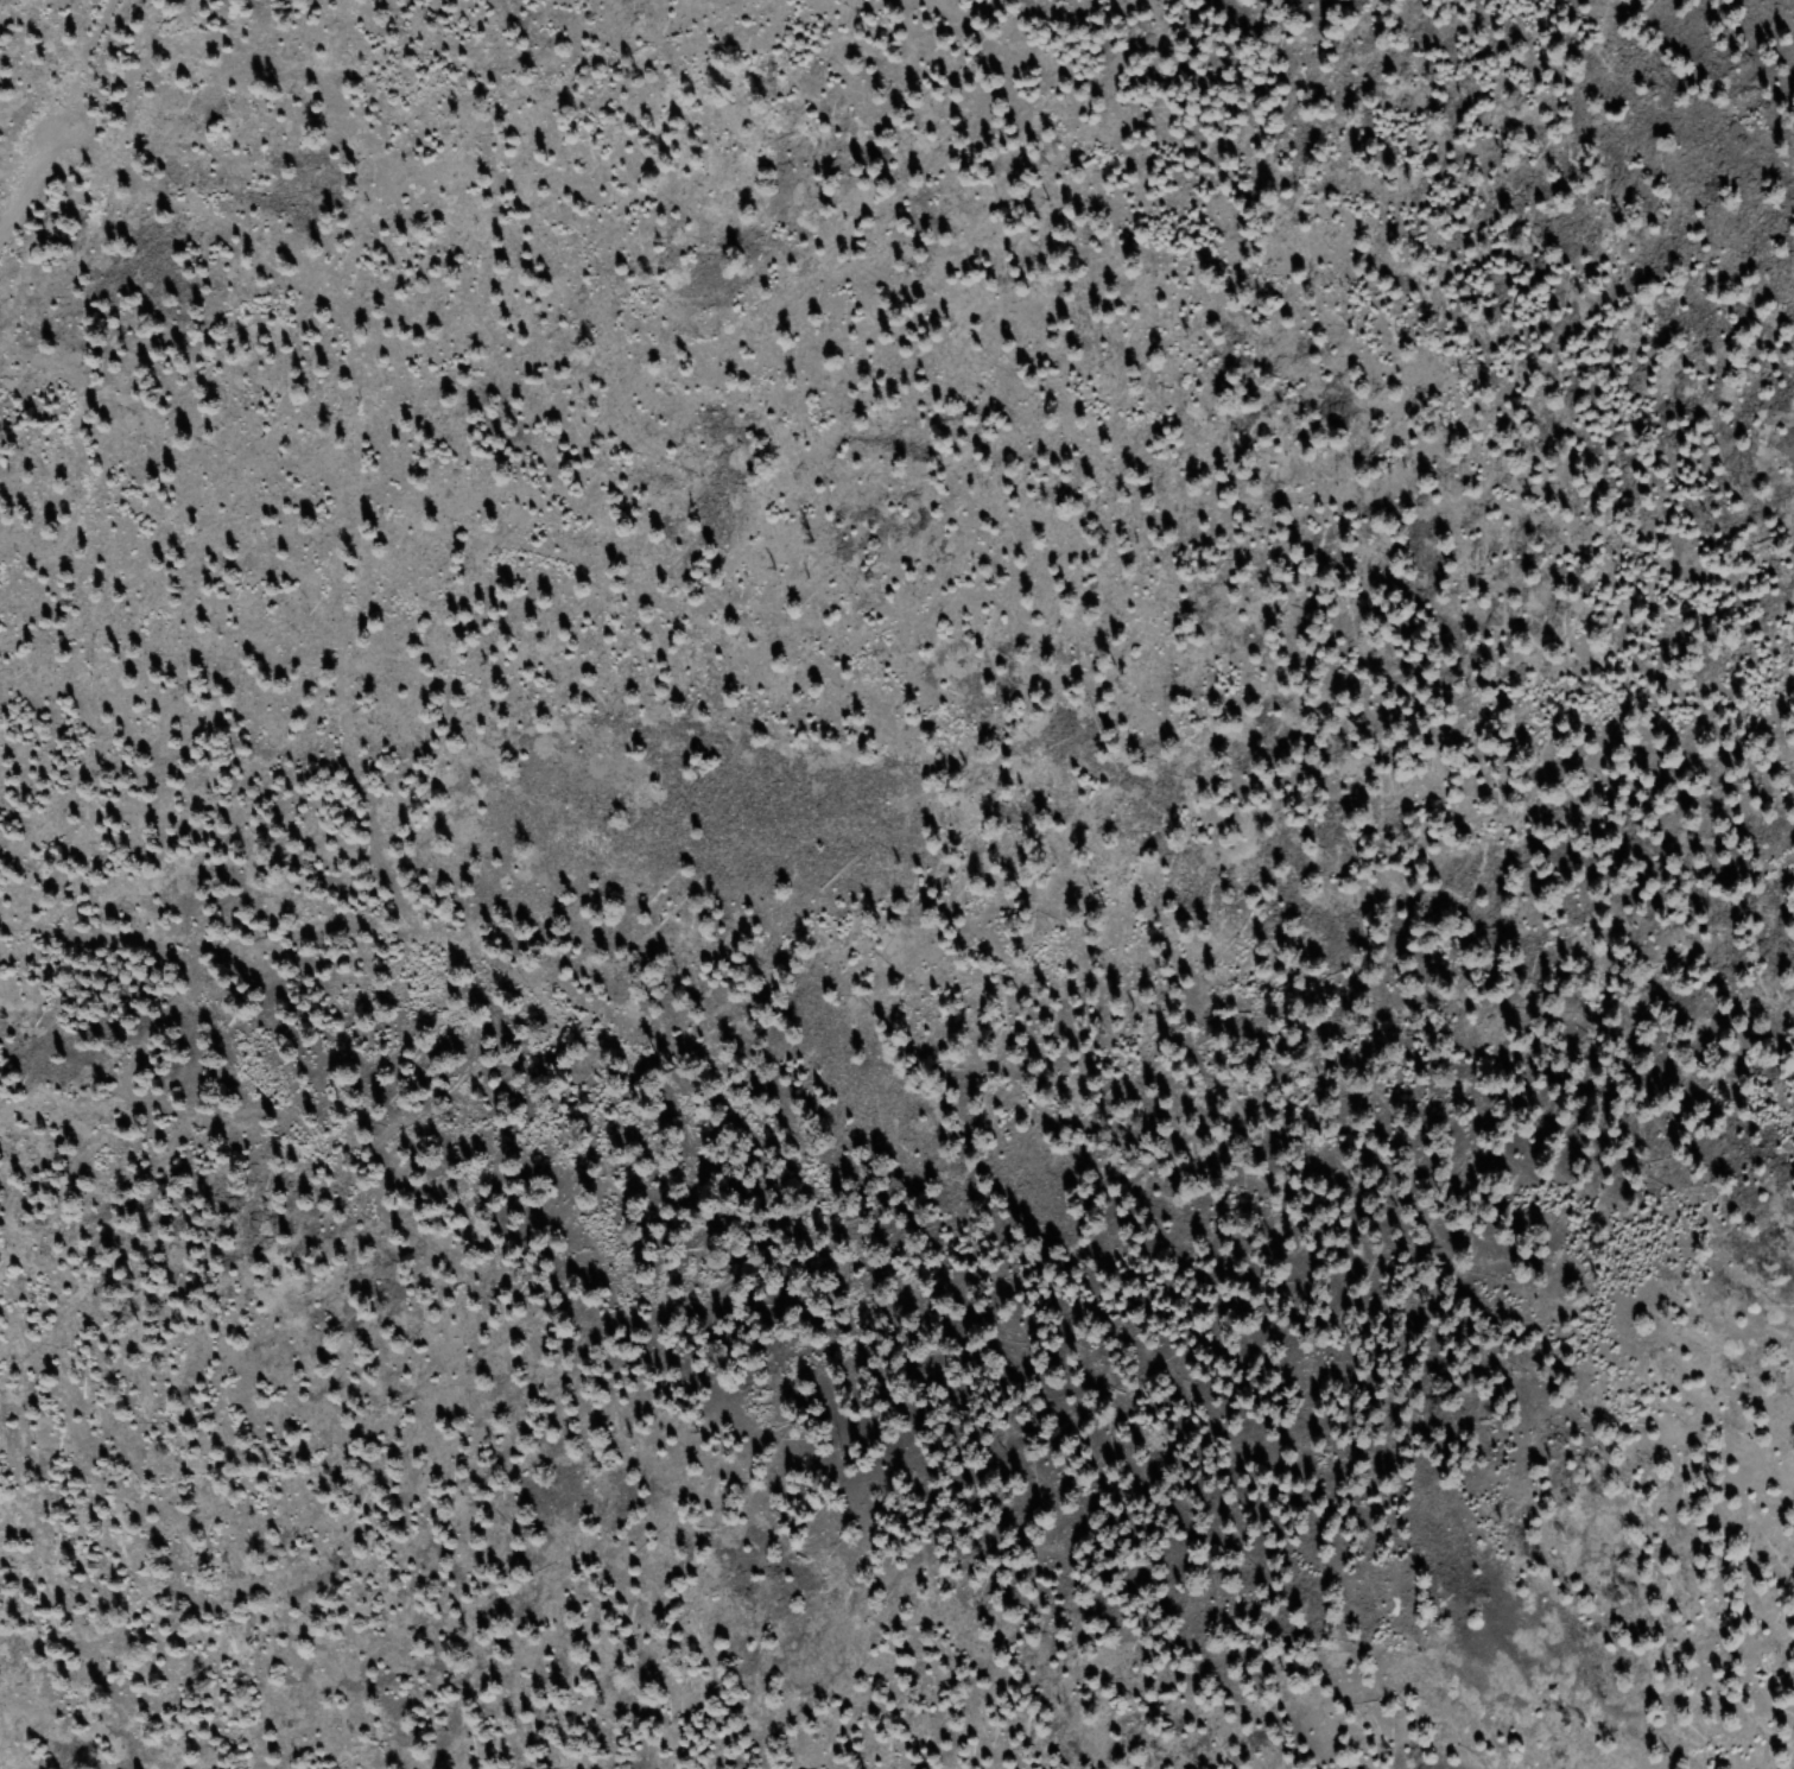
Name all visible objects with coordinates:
road: (56, 68)

